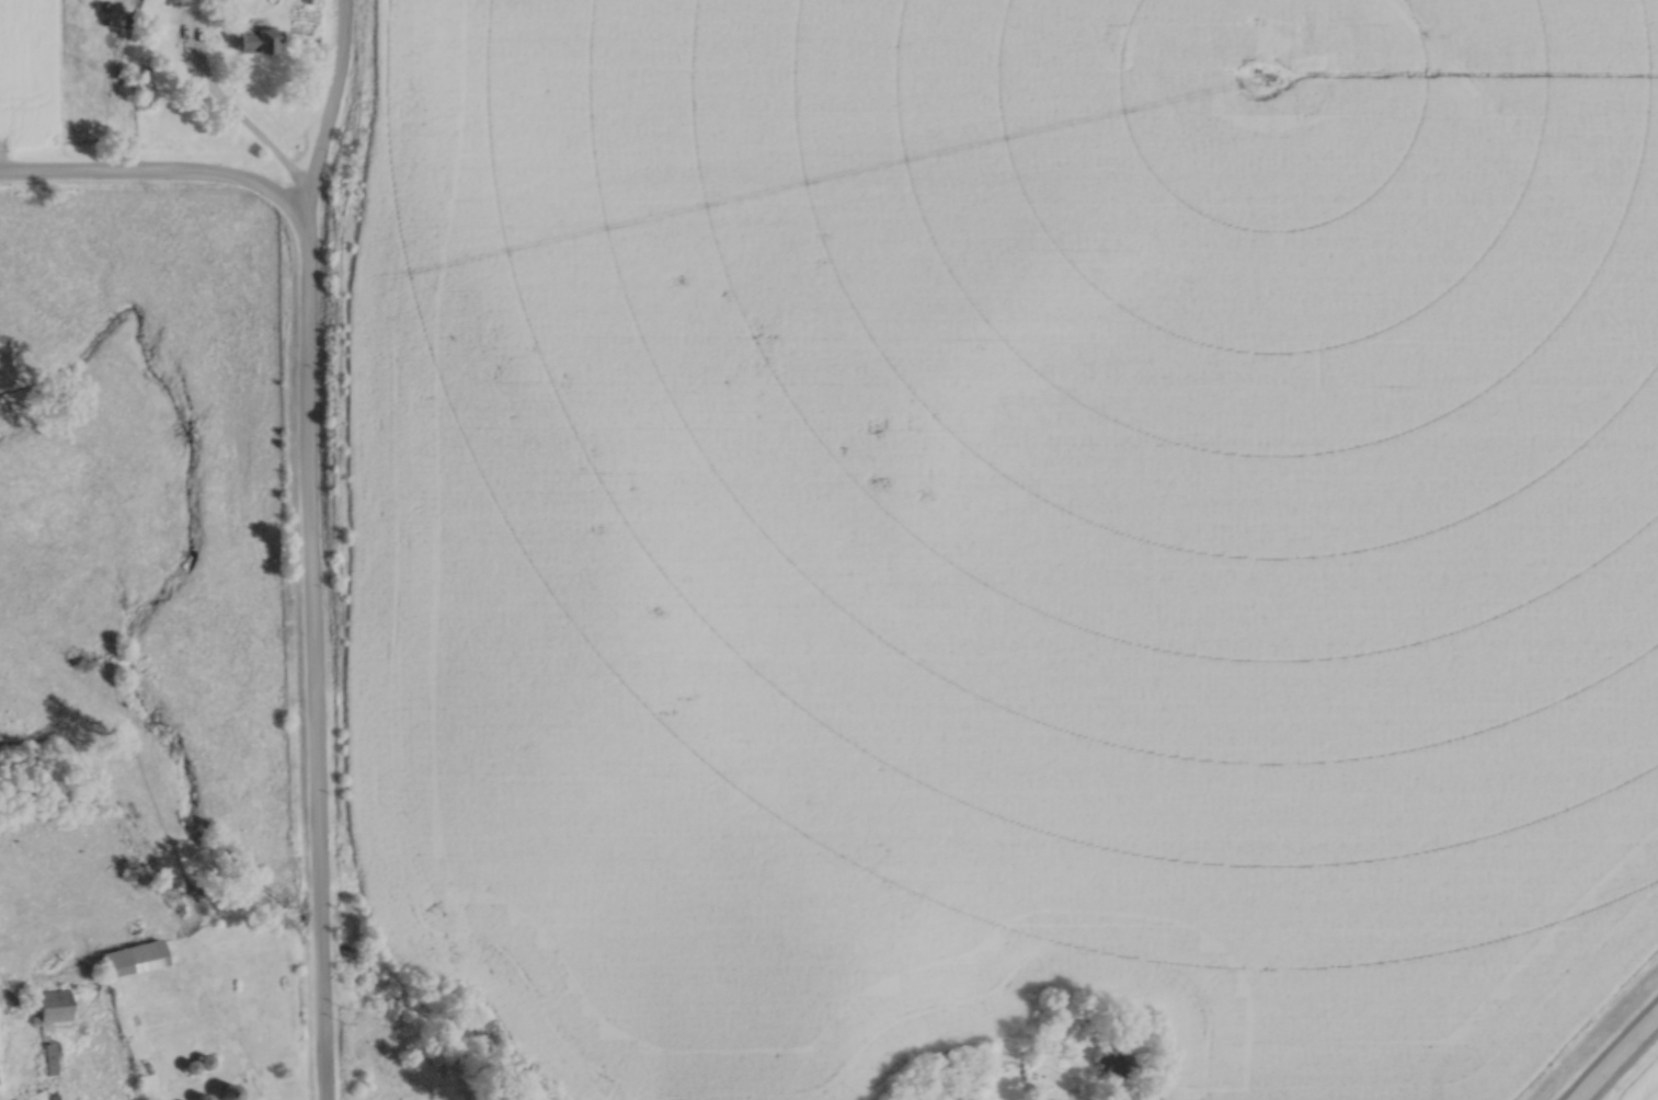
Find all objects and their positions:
building: (255, 37)
road: (336, 99)
road: (226, 103)
road: (153, 174)
road: (302, 203)
road: (316, 653)
building: (130, 955)
building: (52, 1002)
building: (1109, 1058)
road: (1620, 1059)
building: (226, 1089)

